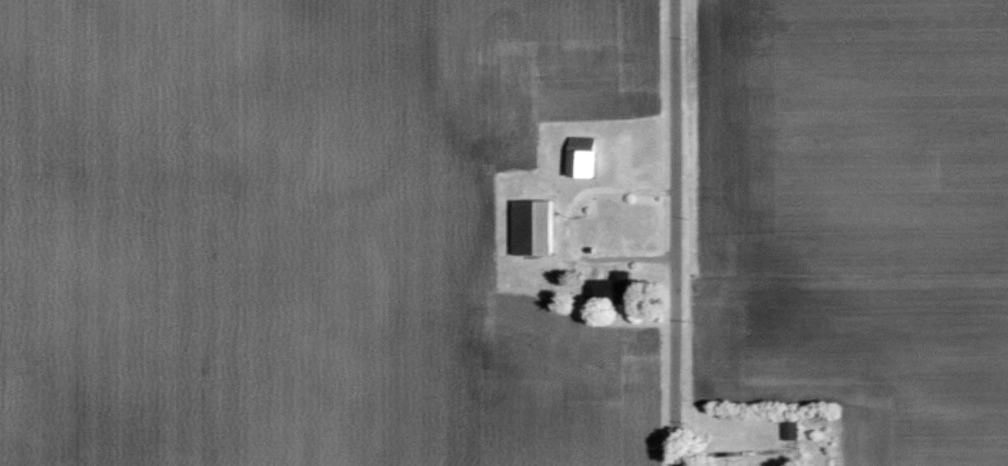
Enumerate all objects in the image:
building: (579, 157)
building: (530, 228)
road: (677, 233)
building: (607, 289)
building: (789, 430)

